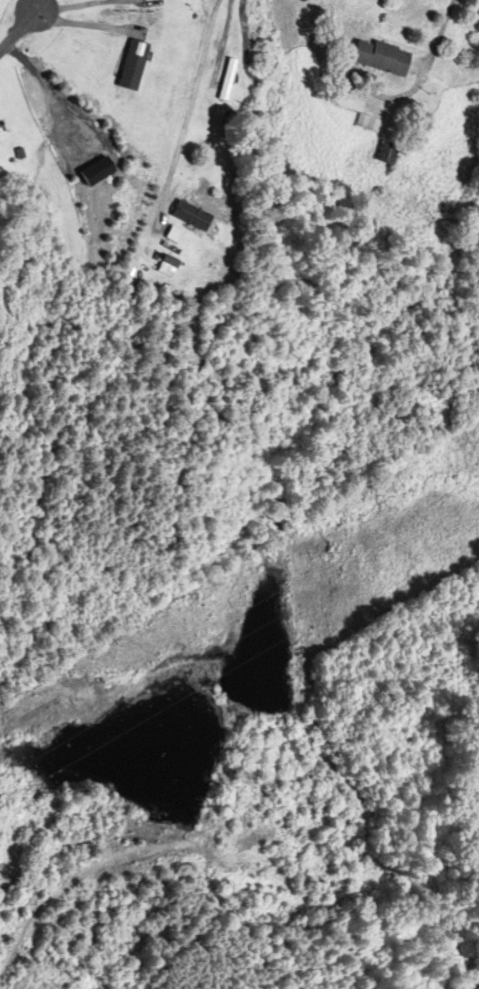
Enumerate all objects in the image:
road: (41, 5)
road: (73, 6)
road: (83, 24)
road: (19, 29)
road: (439, 35)
building: (377, 57)
building: (129, 65)
building: (224, 79)
road: (187, 112)
building: (364, 123)
building: (381, 154)
building: (190, 221)

